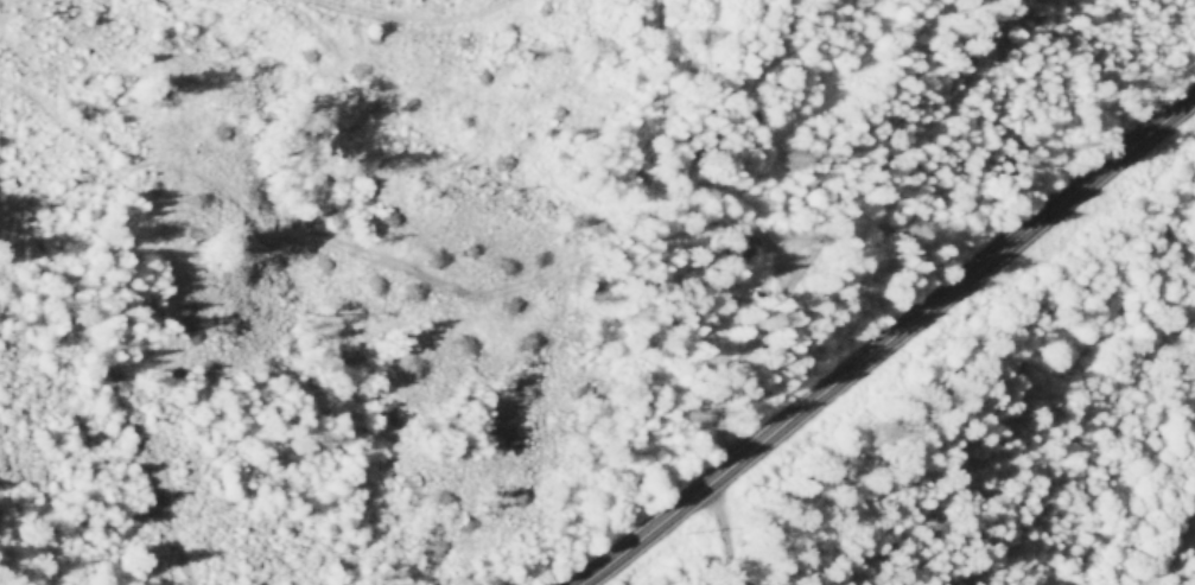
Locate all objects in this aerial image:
road: (800, 253)
road: (886, 339)
road: (122, 409)
road: (723, 533)

